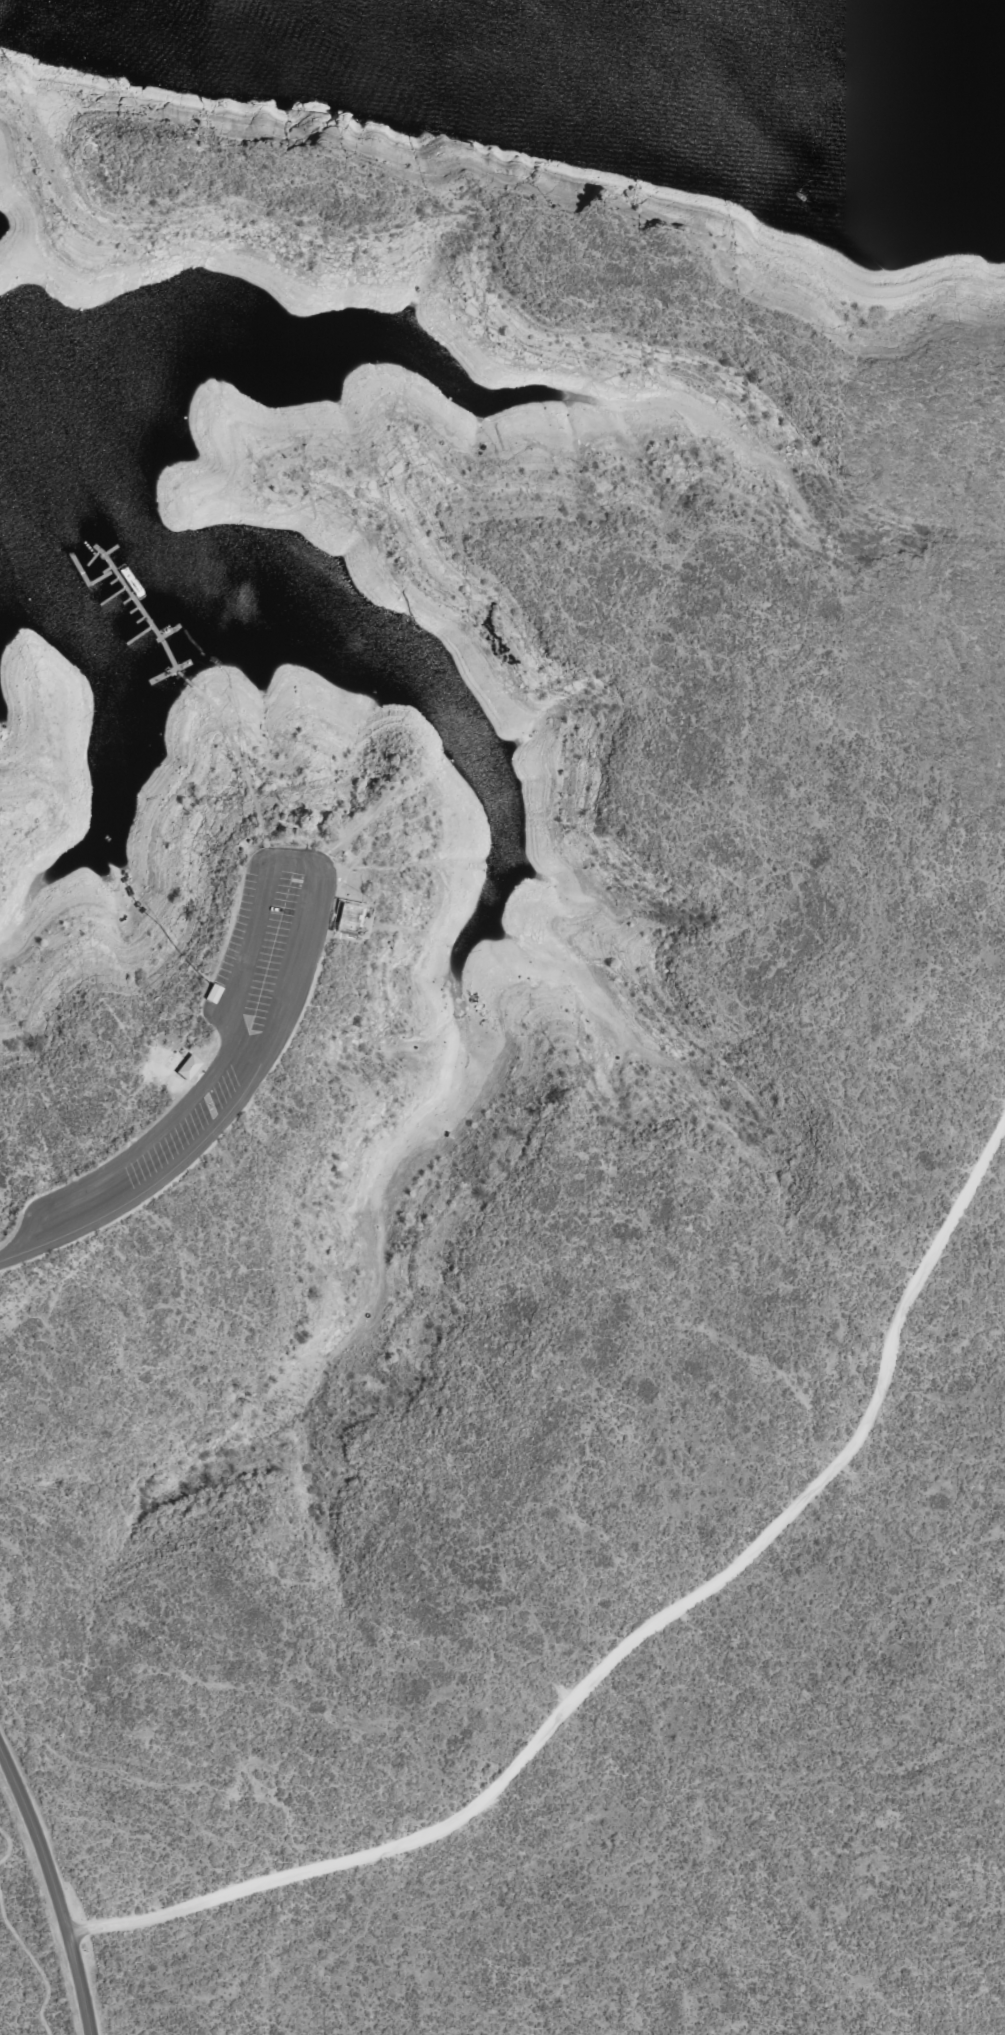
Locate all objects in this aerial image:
road: (309, 862)
building: (351, 919)
building: (212, 994)
building: (349, 1049)
building: (188, 1068)
road: (9, 1257)
road: (631, 1642)
road: (55, 1887)

